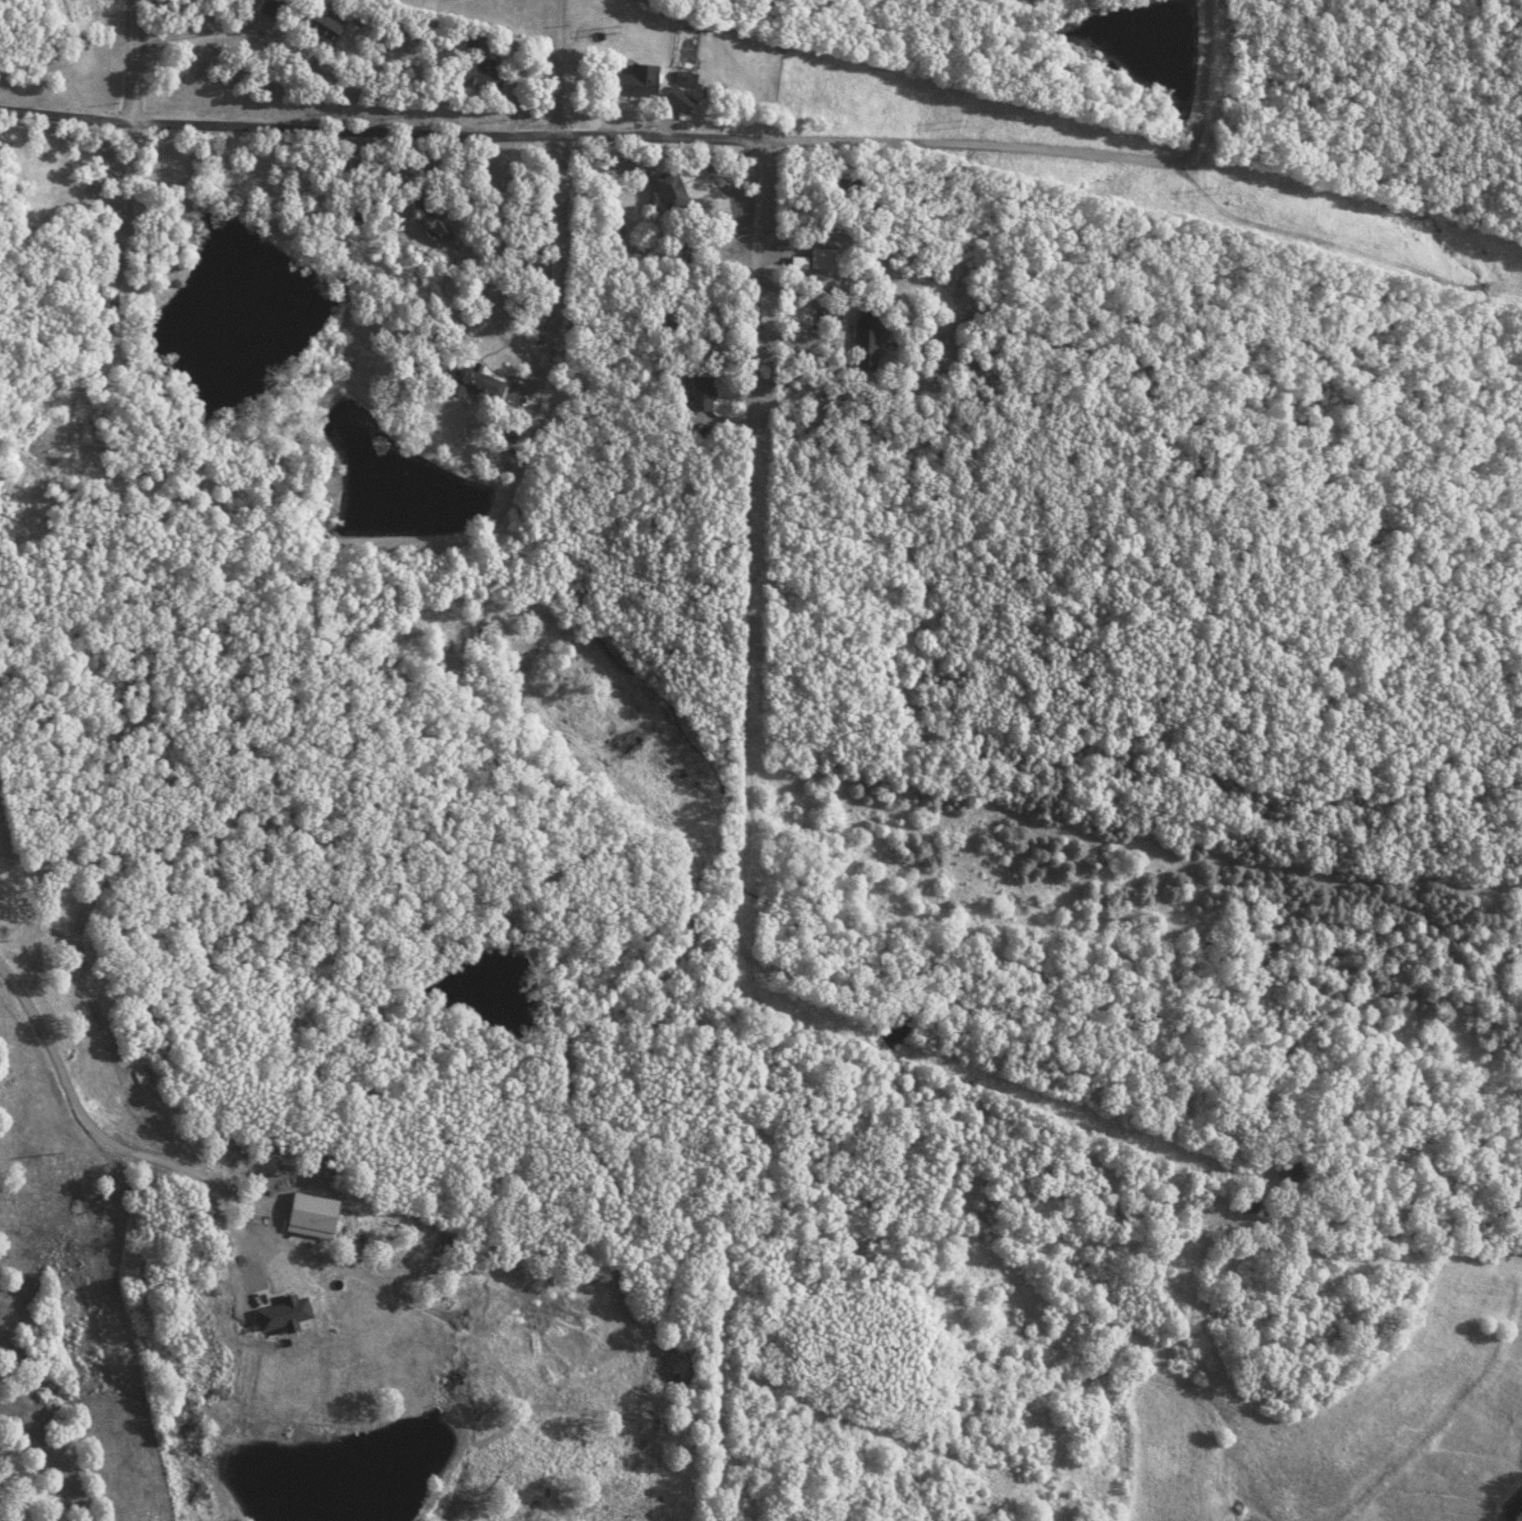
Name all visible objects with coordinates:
building: (269, 6)
building: (321, 24)
power tower: (606, 26)
road: (211, 29)
building: (480, 71)
building: (683, 76)
building: (634, 79)
building: (676, 97)
power tower: (951, 119)
road: (678, 135)
power tower: (1198, 179)
road: (131, 187)
building: (668, 189)
building: (417, 198)
building: (723, 223)
building: (434, 225)
building: (821, 257)
road: (551, 308)
building: (864, 327)
building: (475, 380)
building: (700, 392)
road: (722, 421)
building: (201, 516)
road: (744, 840)
power tower: (41, 1155)
building: (1288, 1173)

